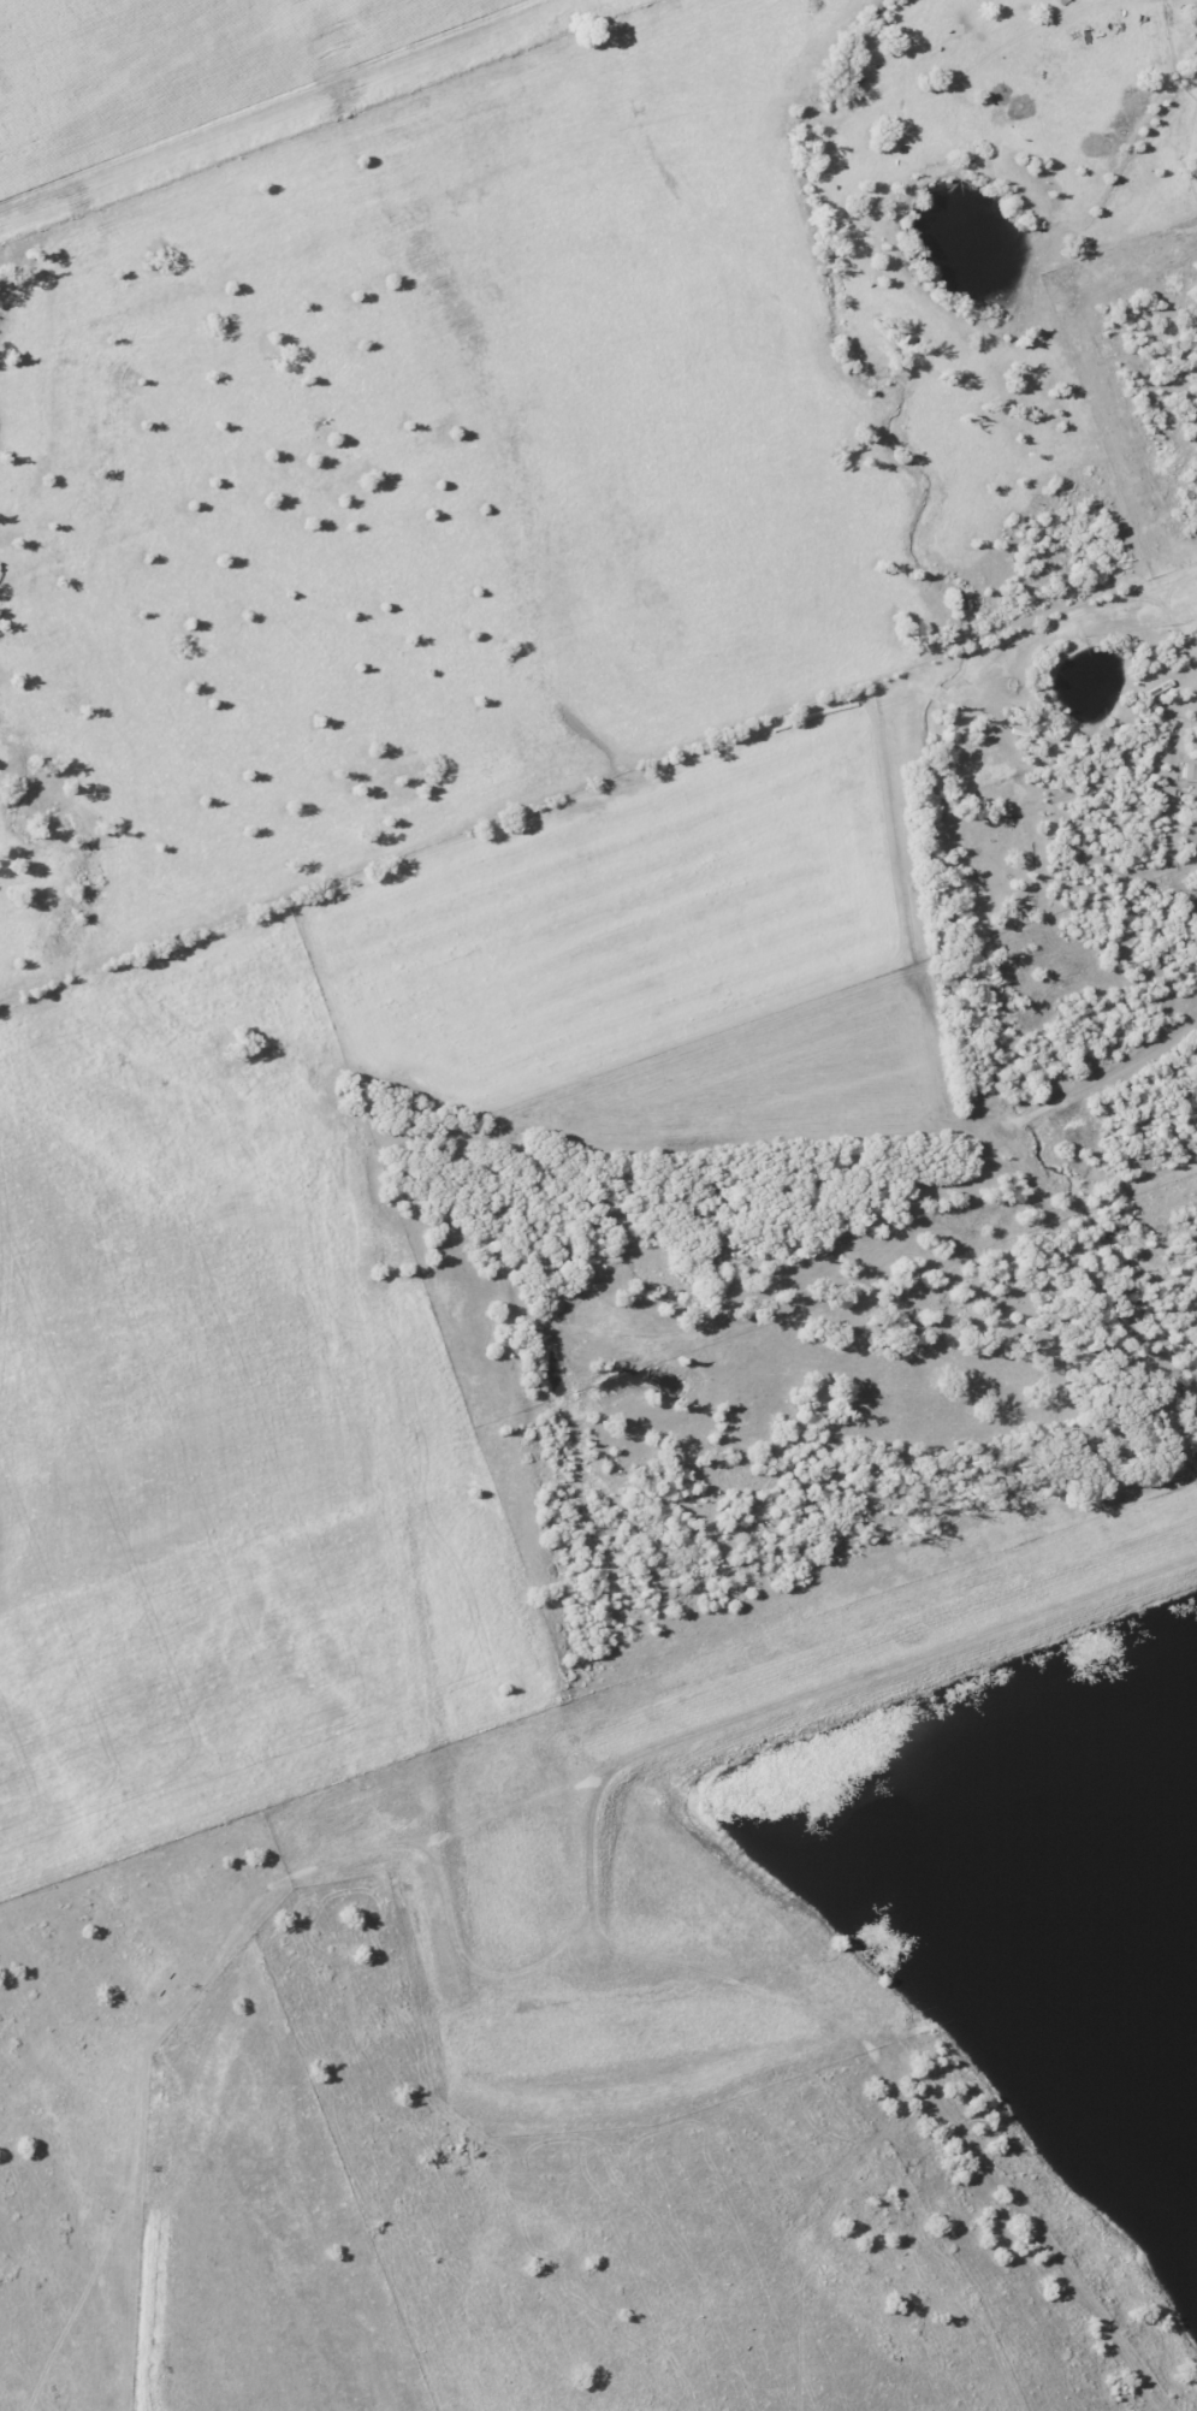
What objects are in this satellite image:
dam: (917, 1693)

